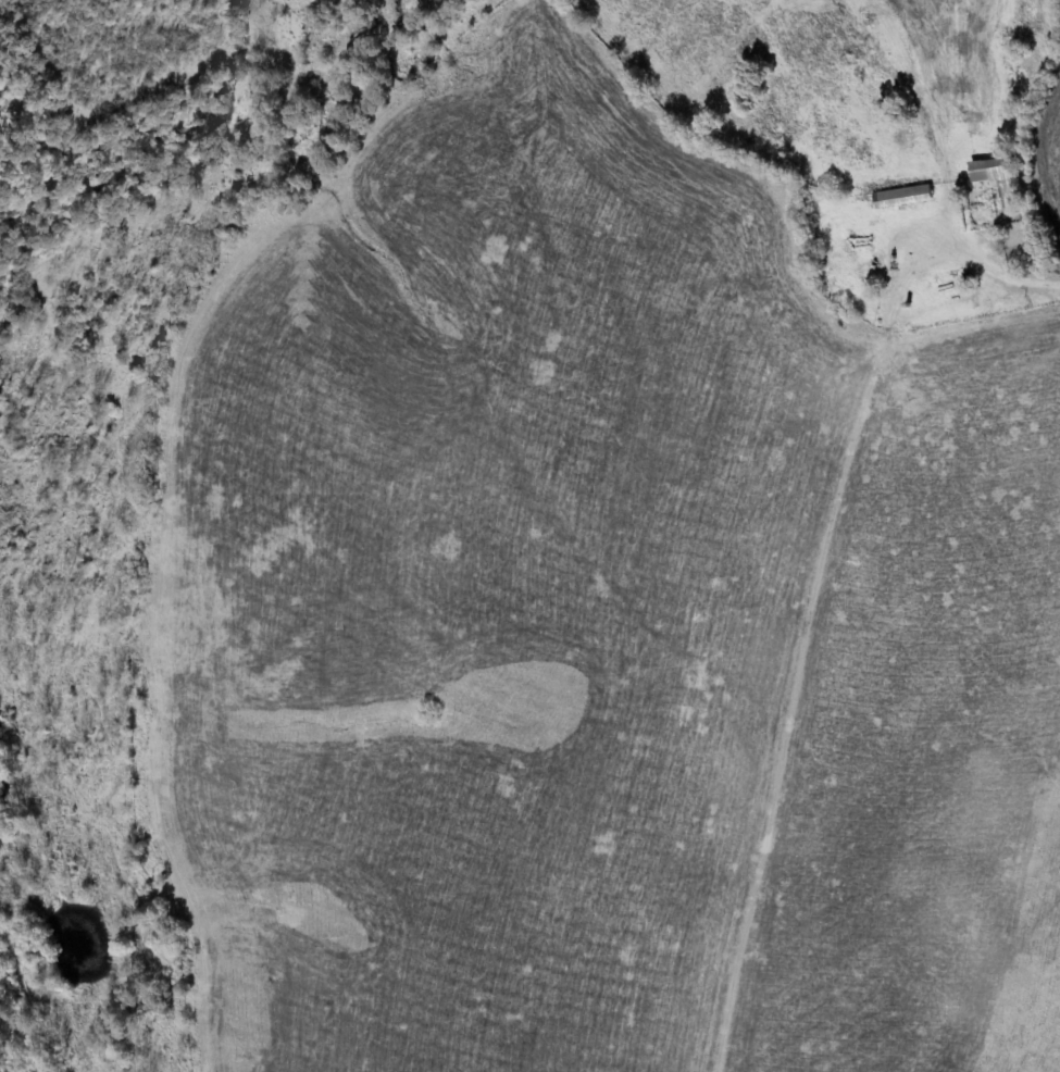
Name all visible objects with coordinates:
road: (937, 128)
building: (902, 197)
road: (762, 588)

